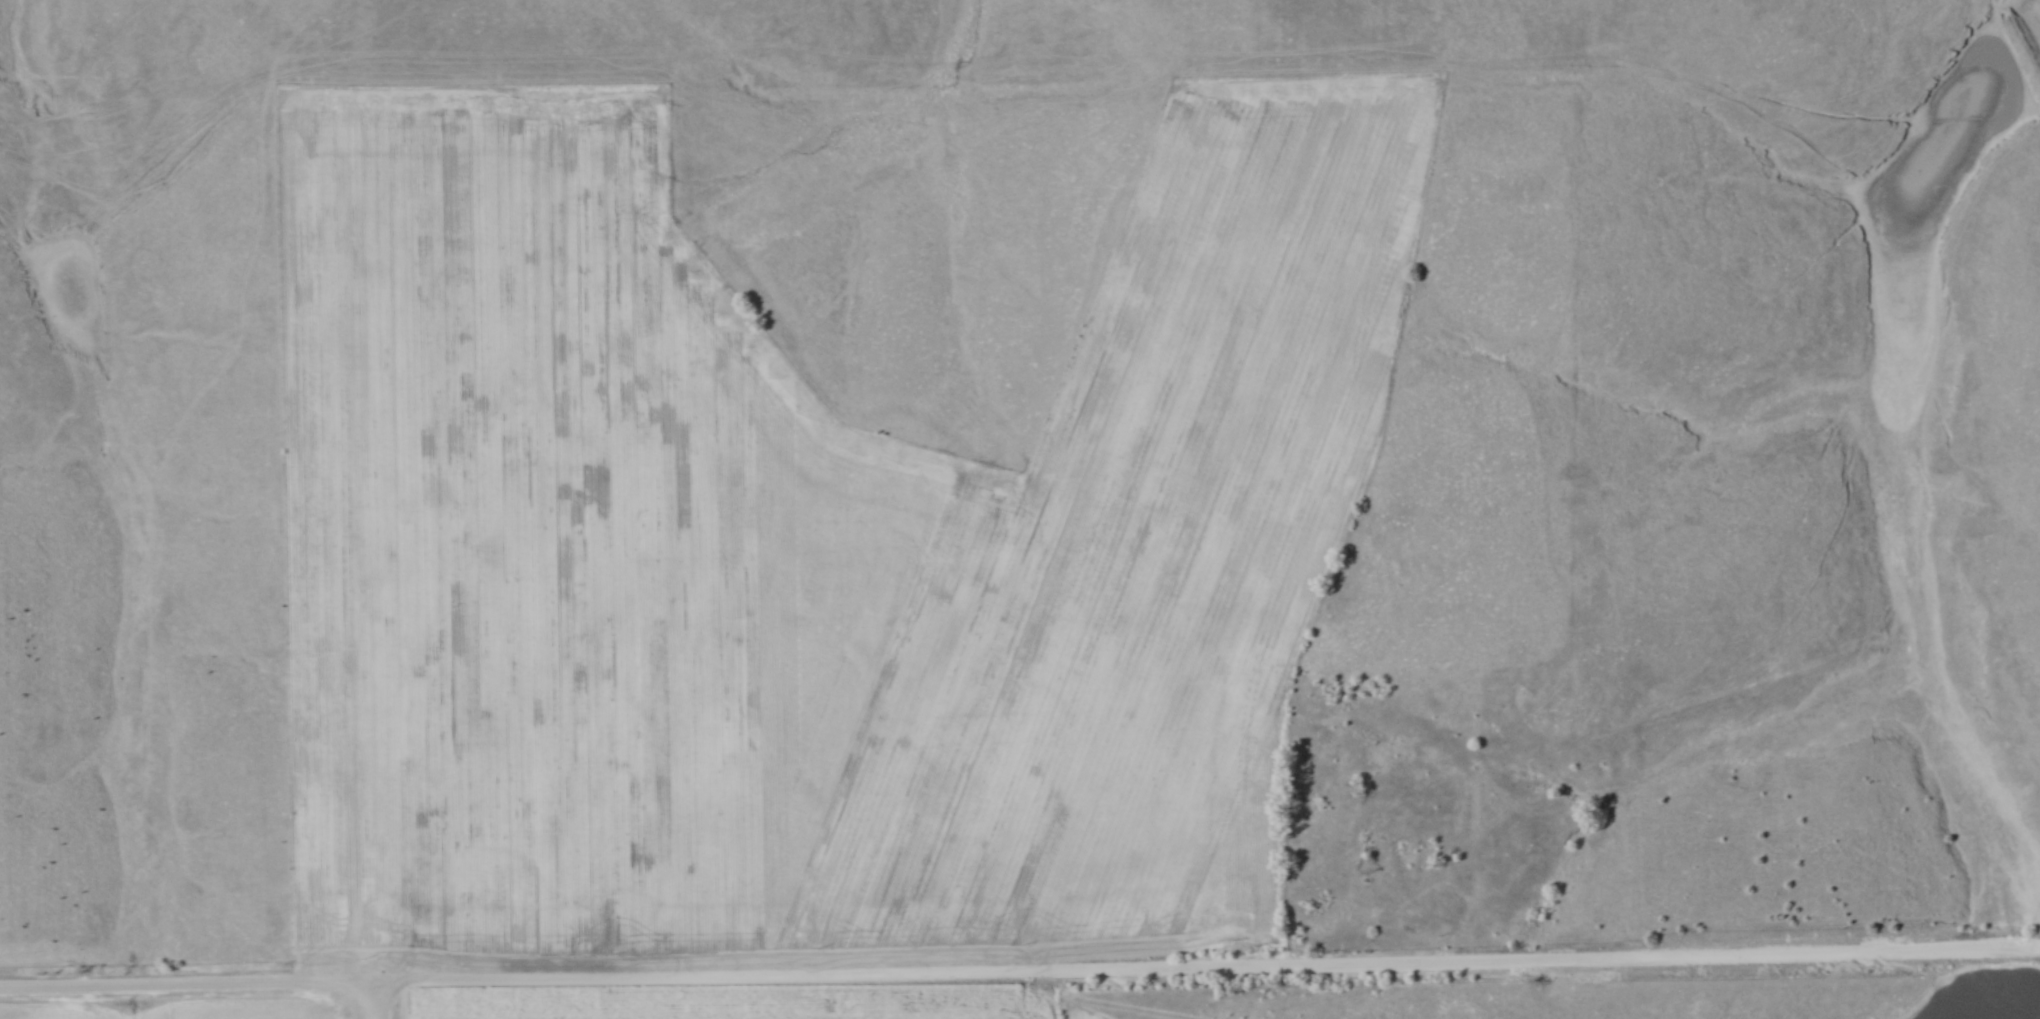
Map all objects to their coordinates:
road: (1020, 972)
road: (381, 999)

